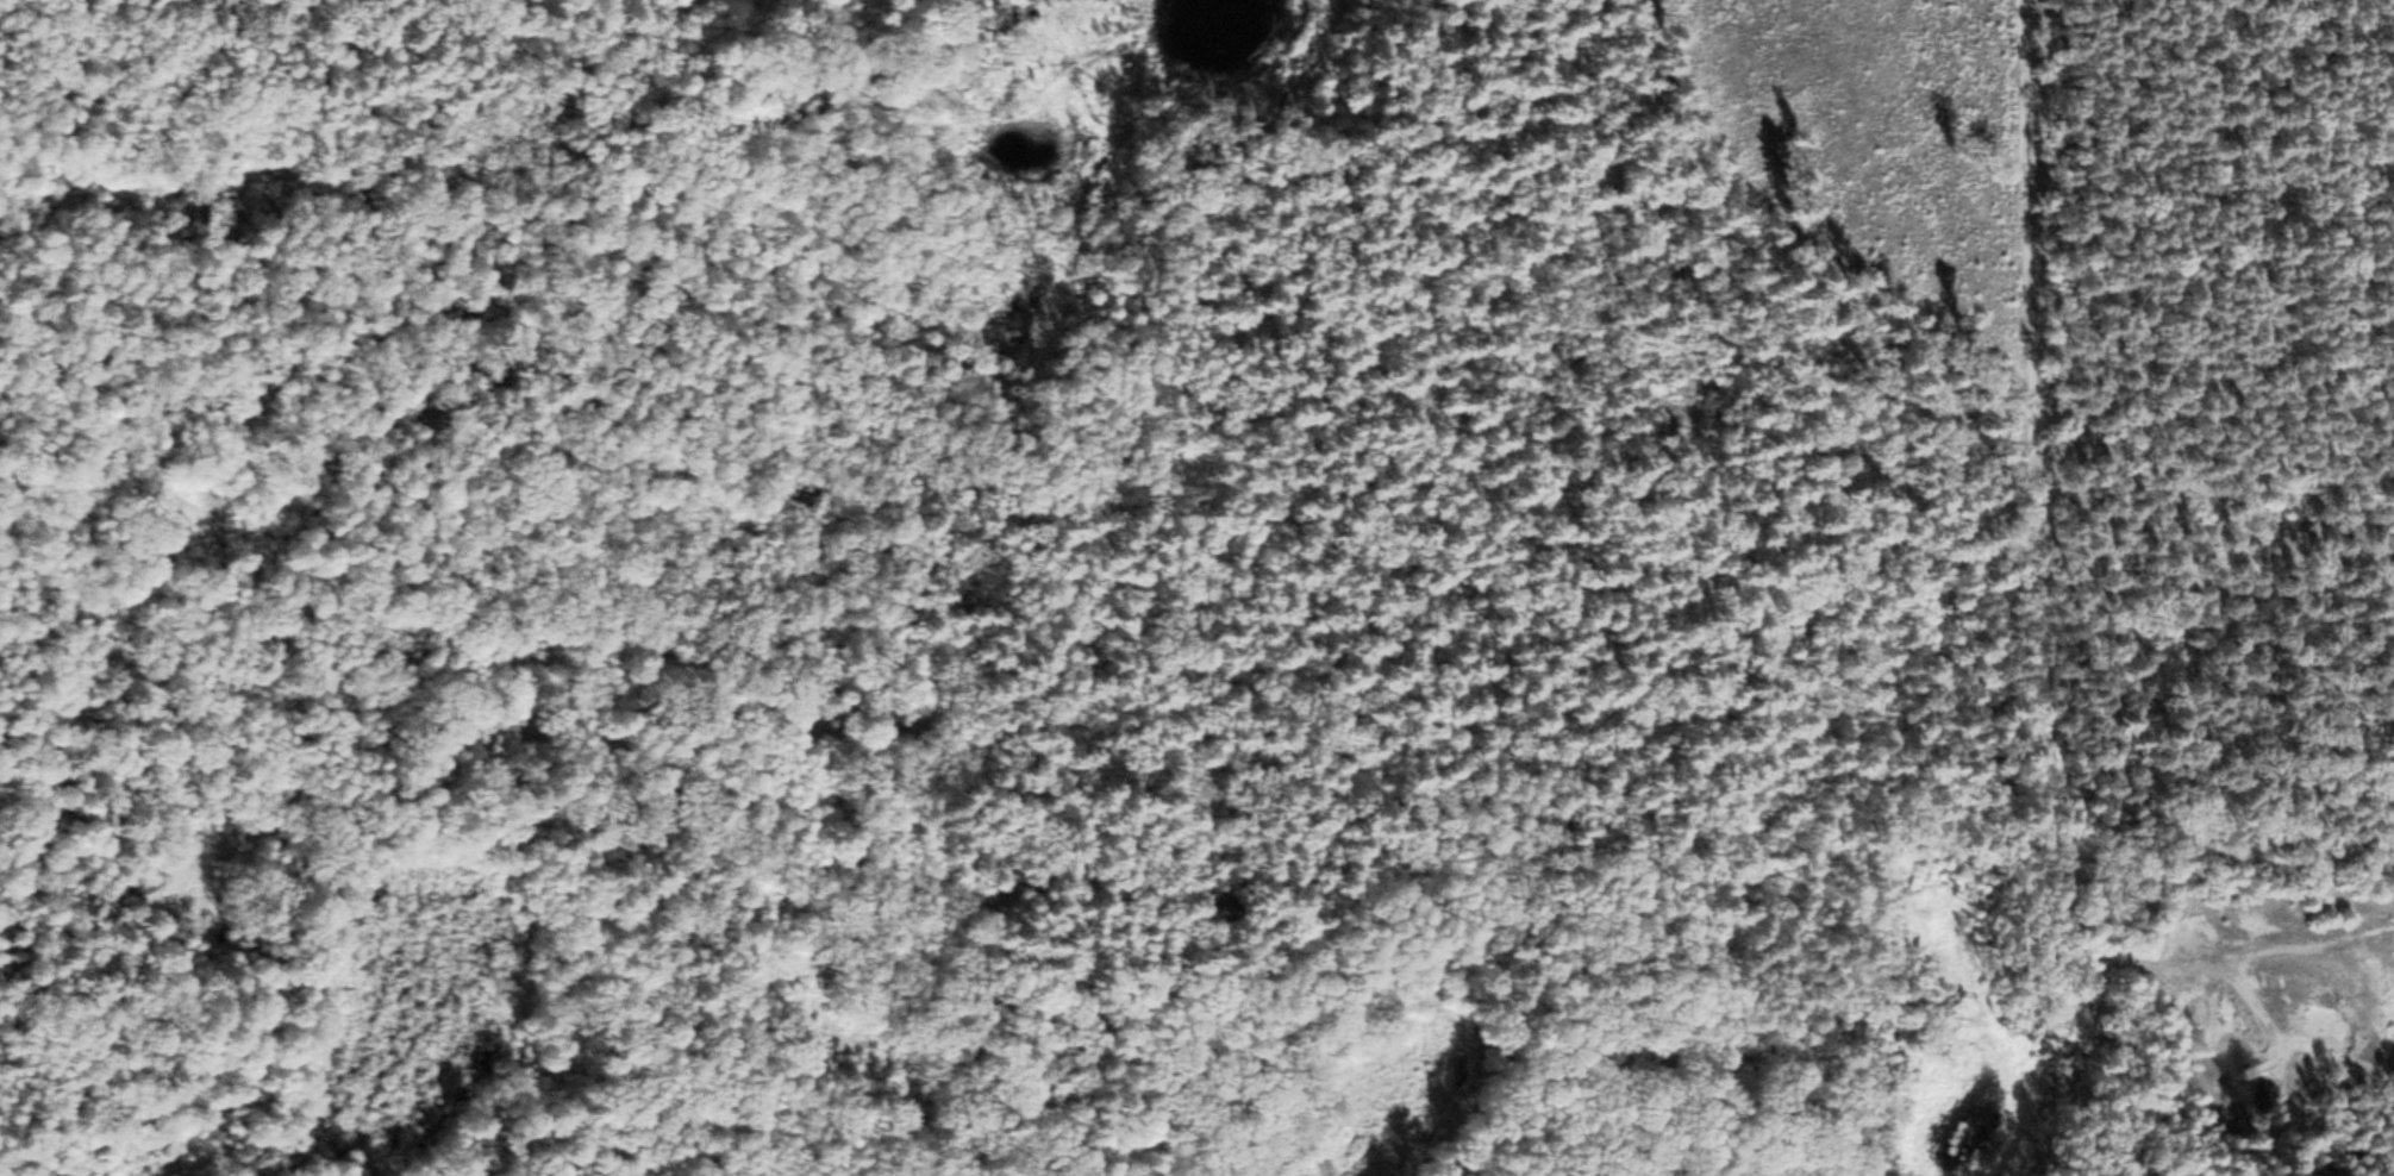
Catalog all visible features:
road: (1962, 333)
road: (2042, 587)

